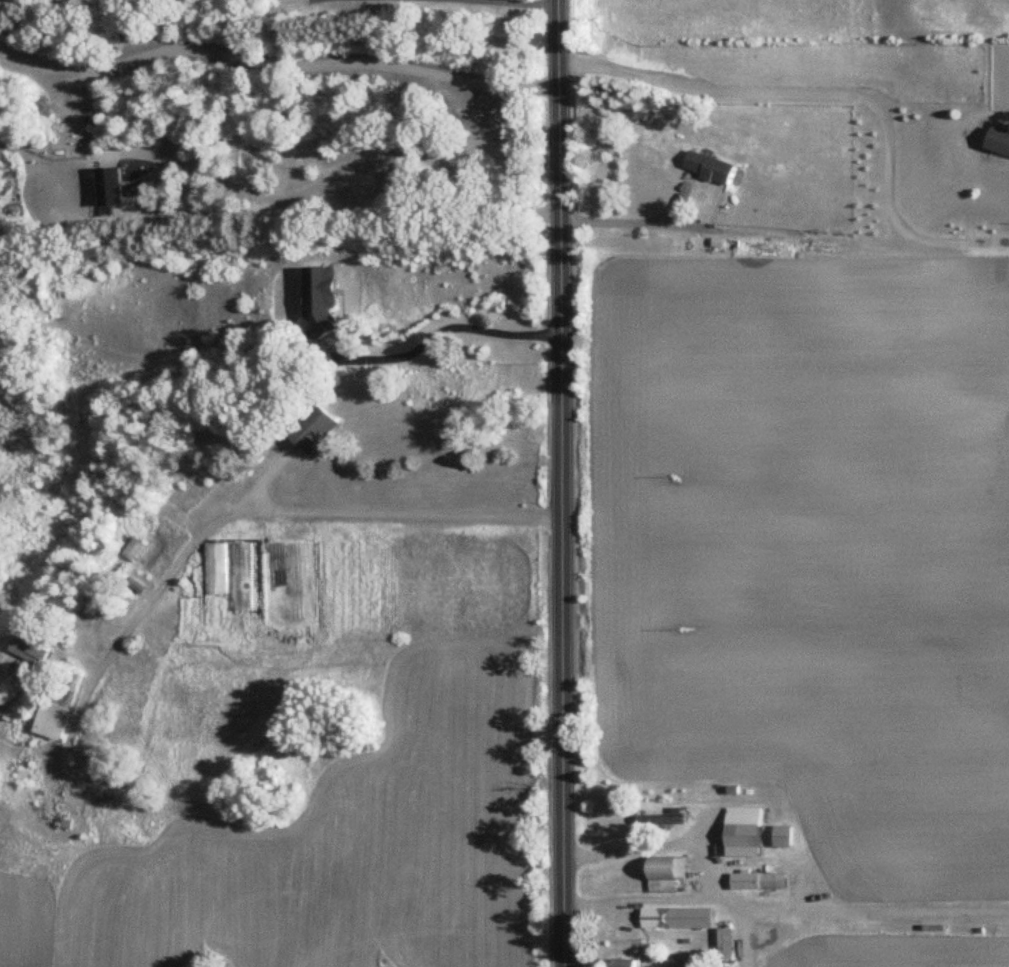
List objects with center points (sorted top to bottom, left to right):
road: (534, 2)
road: (836, 92)
building: (999, 139)
road: (358, 160)
building: (710, 167)
road: (634, 221)
building: (322, 300)
road: (439, 330)
building: (310, 425)
road: (561, 483)
road: (289, 509)
building: (31, 647)
building: (58, 707)
building: (664, 819)
building: (744, 832)
road: (696, 847)
building: (667, 873)
building: (759, 880)
road: (642, 898)
road: (872, 913)
building: (678, 917)
building: (726, 944)
building: (679, 960)
building: (627, 963)

